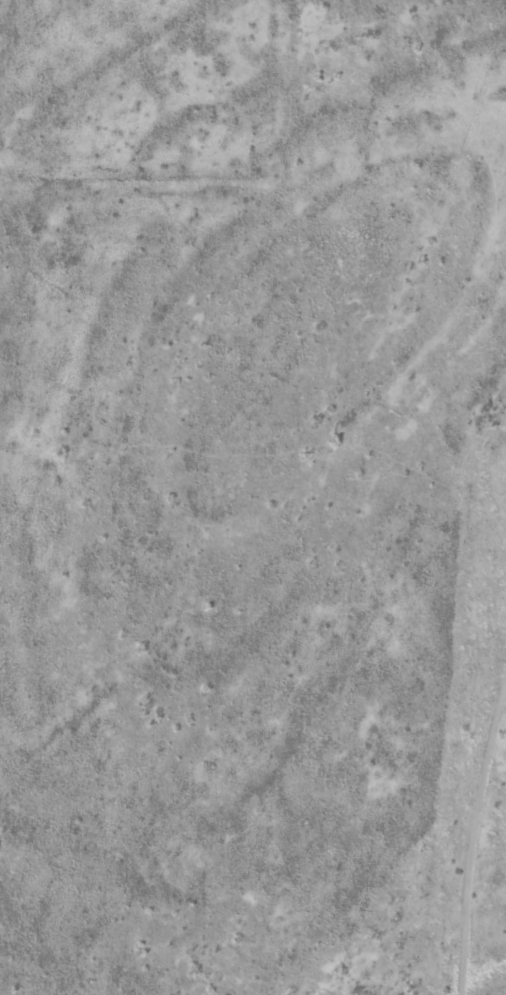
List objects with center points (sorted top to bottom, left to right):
road: (231, 300)

